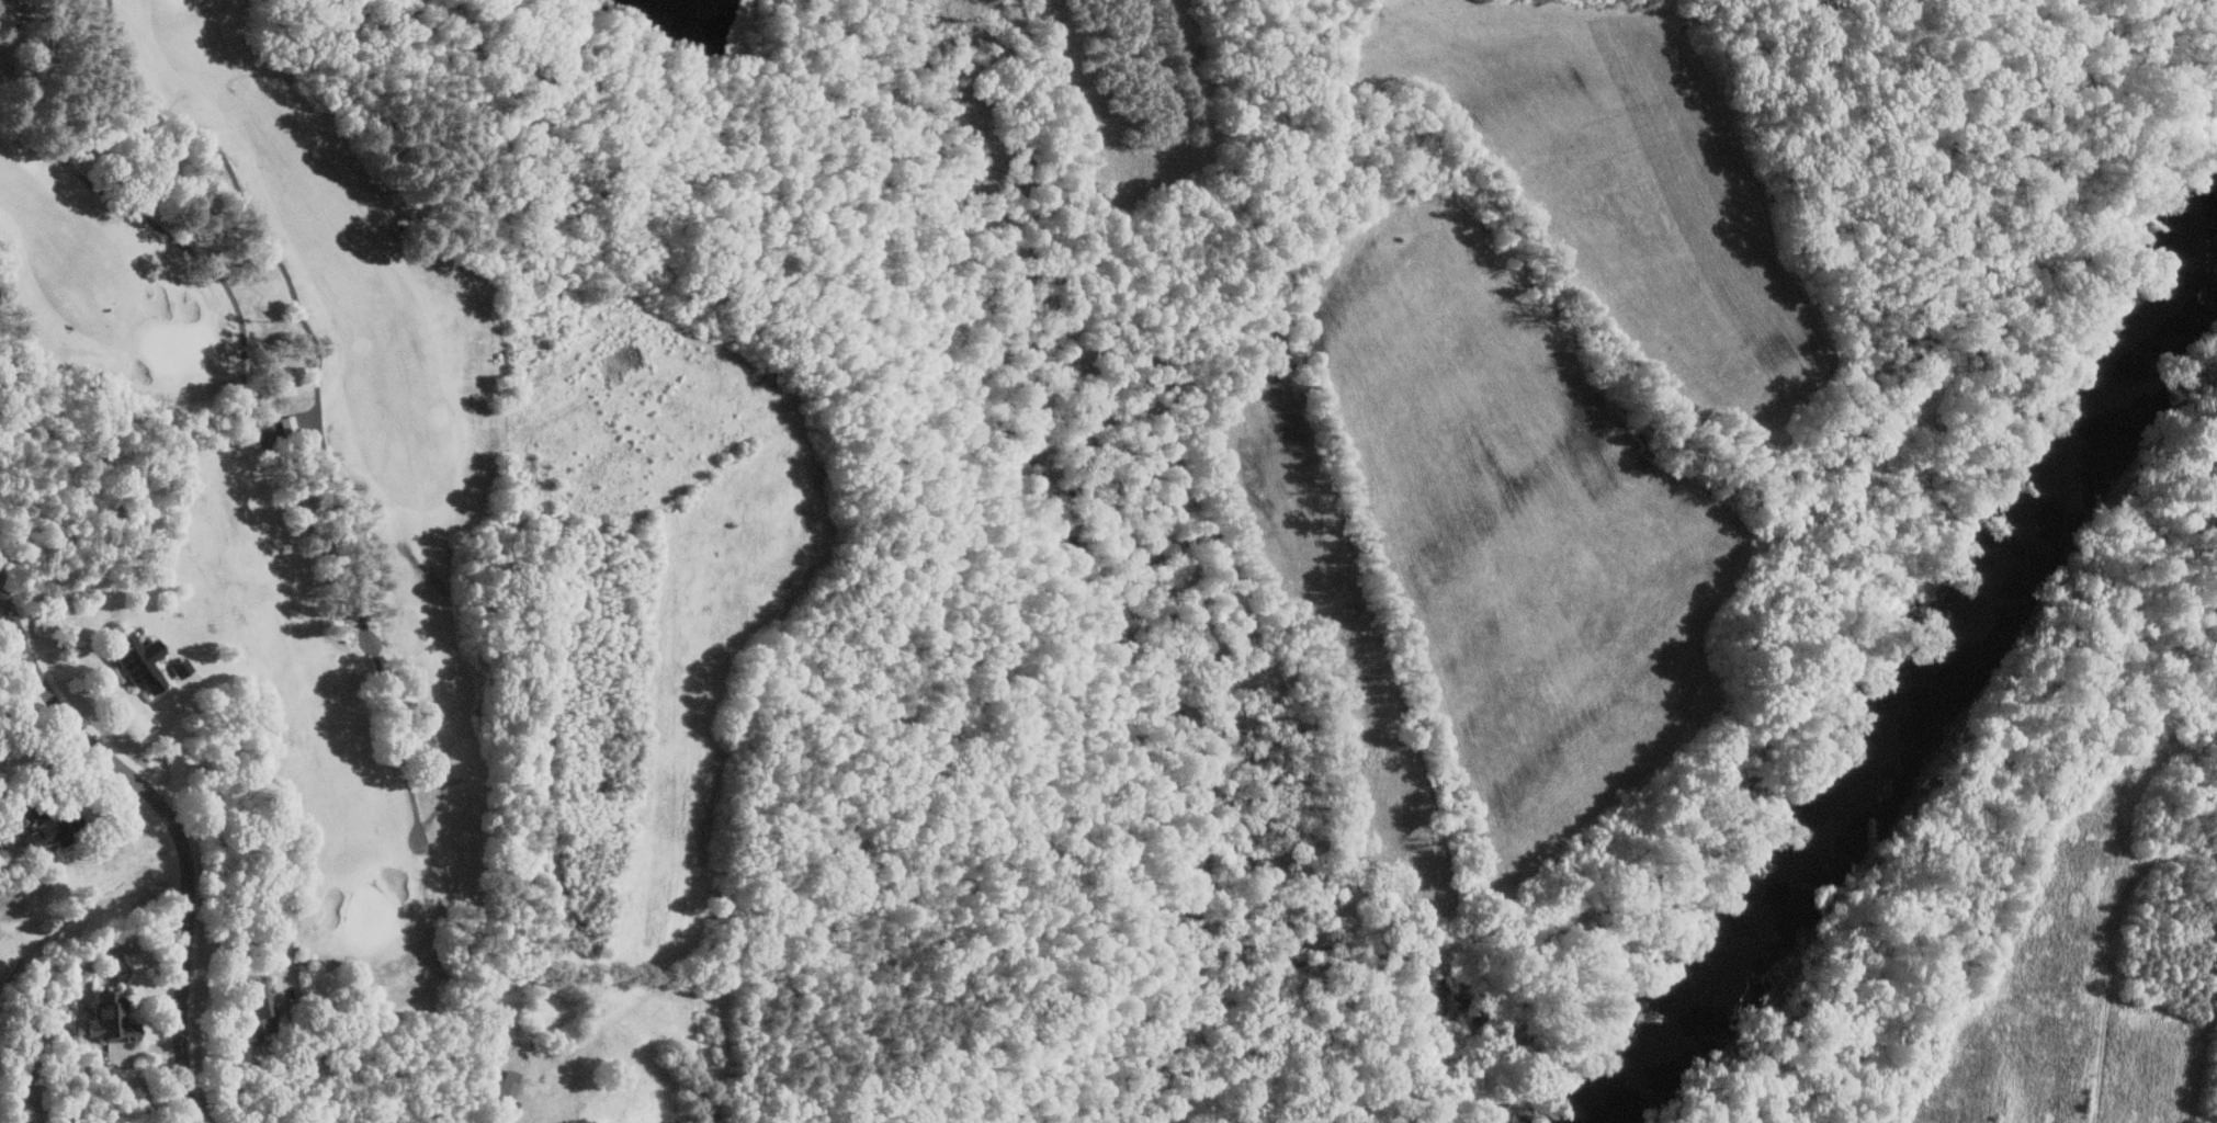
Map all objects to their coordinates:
road: (327, 422)
park: (370, 568)
river: (1967, 631)
building: (137, 660)
building: (182, 673)
road: (126, 692)
road: (172, 824)
building: (35, 831)
building: (257, 1006)
building: (106, 1018)
road: (263, 1057)
river: (1652, 1063)
building: (502, 1090)
river: (1608, 1107)

